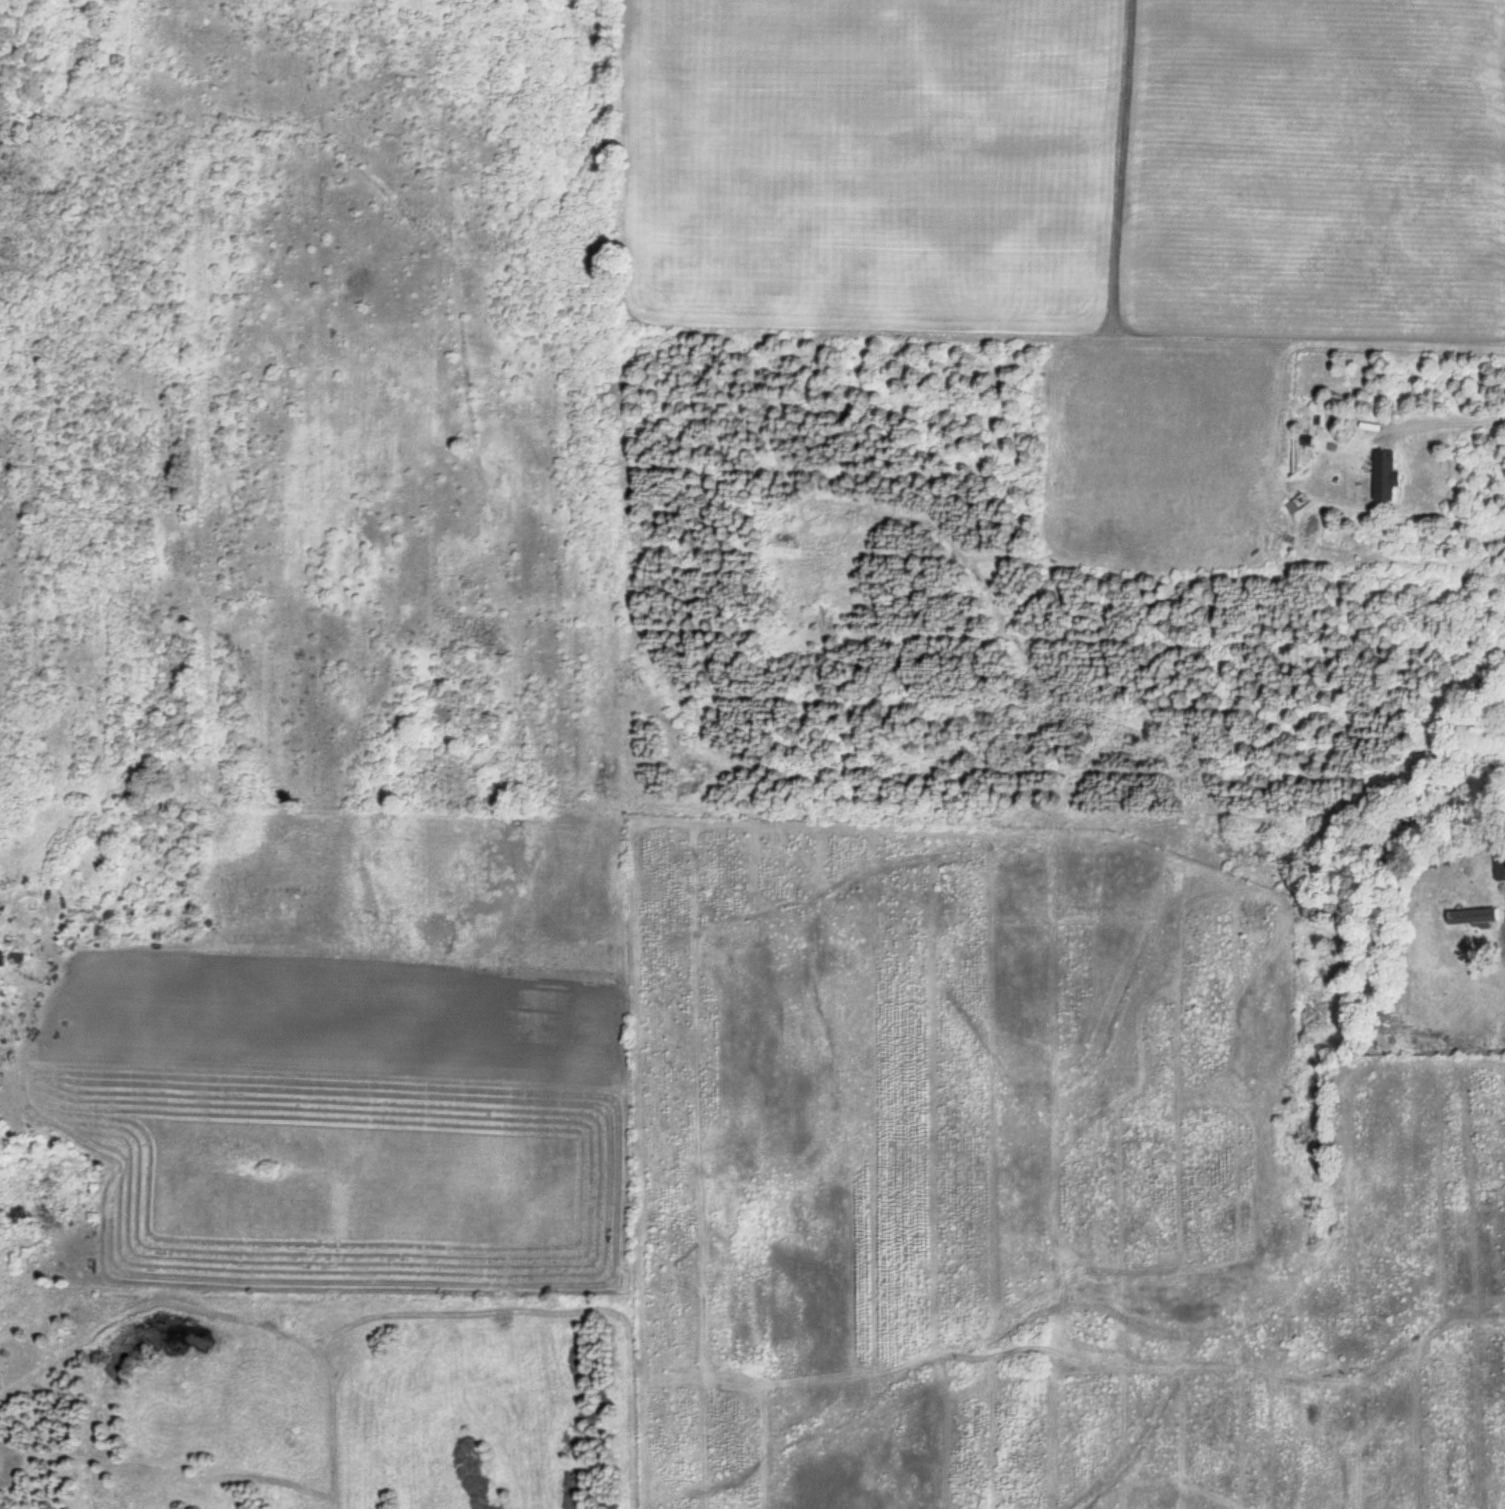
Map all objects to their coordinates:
building: (1382, 476)
building: (1500, 873)
building: (1471, 917)

